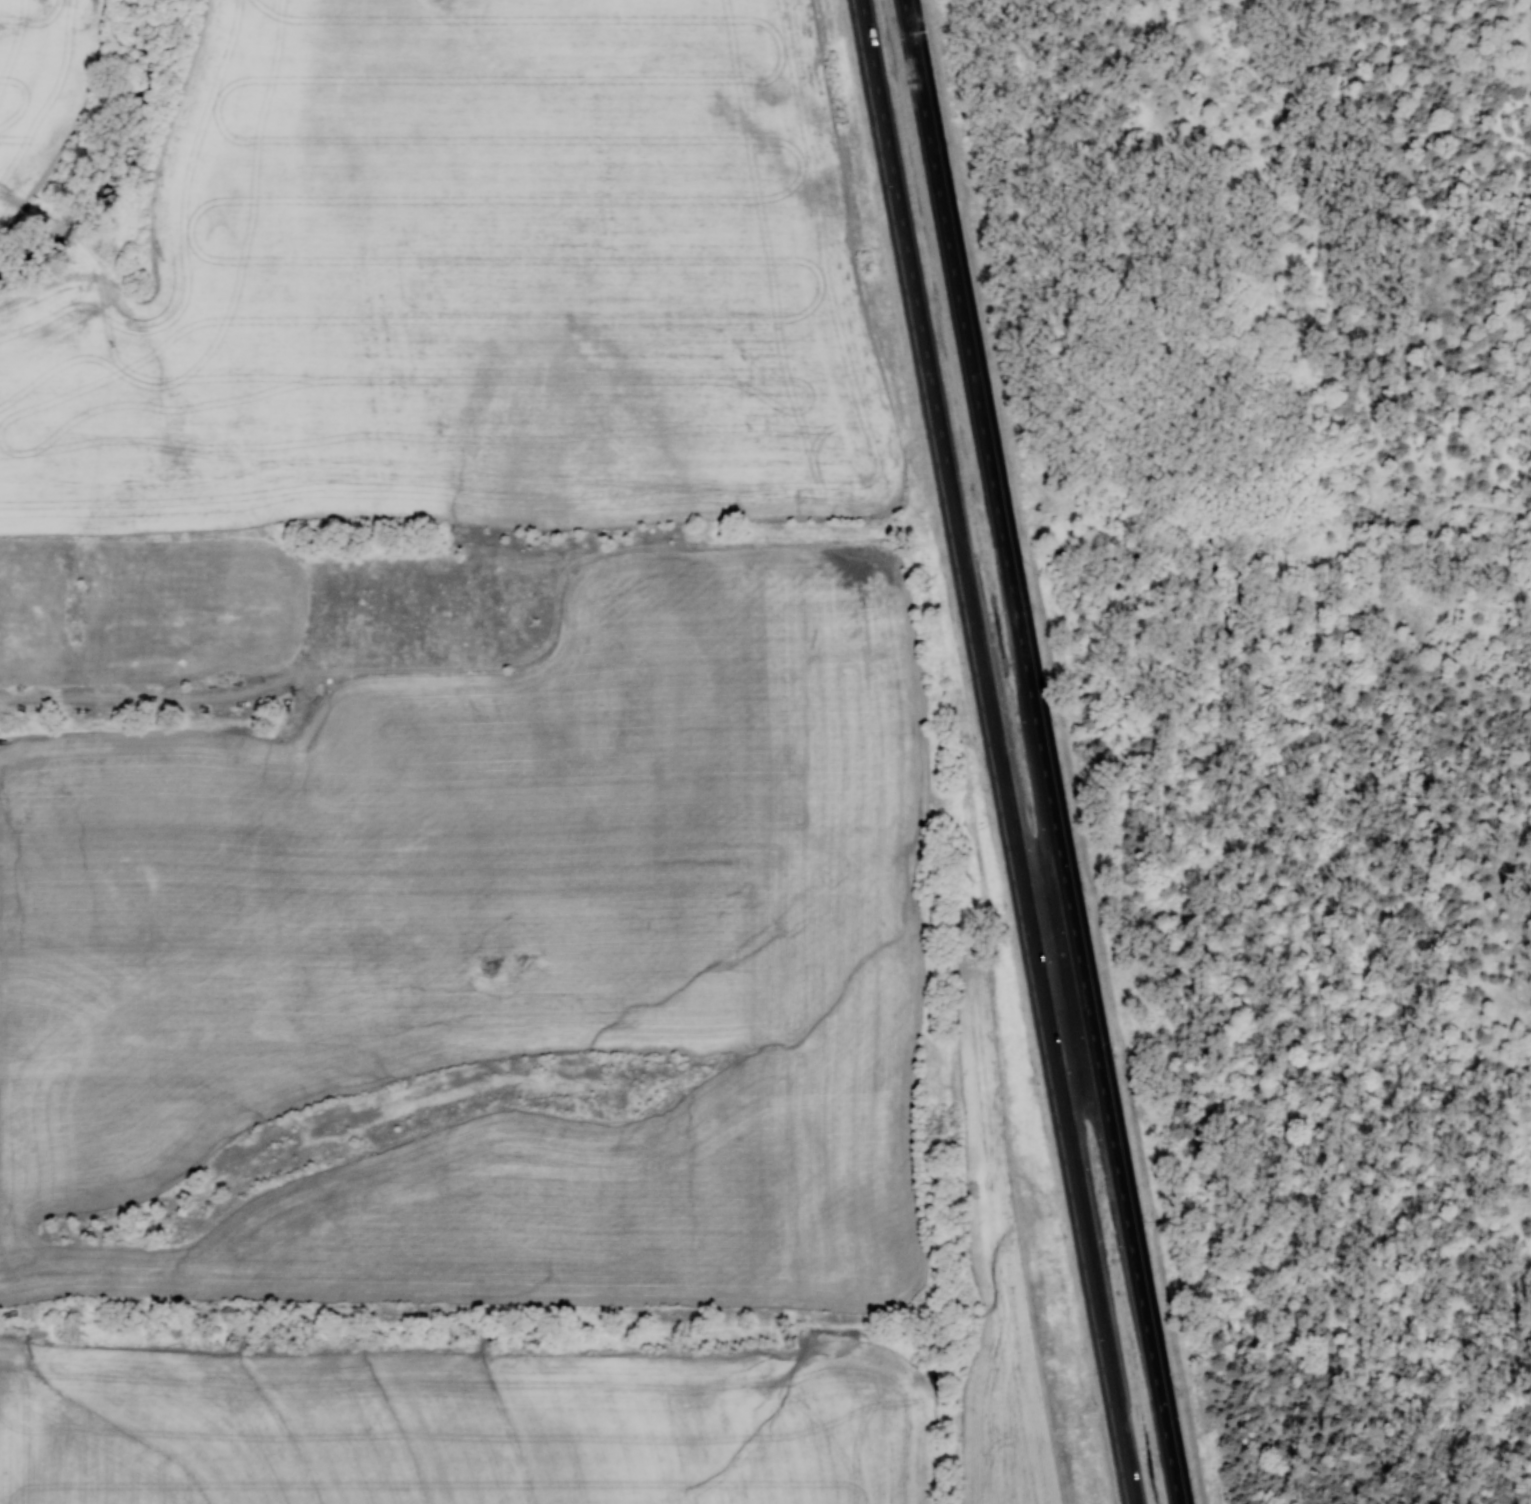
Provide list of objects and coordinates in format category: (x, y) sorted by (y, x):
road: (940, 428)
road: (1007, 546)
park: (1280, 682)
road: (1326, 757)
road: (1060, 975)
road: (1141, 1298)

